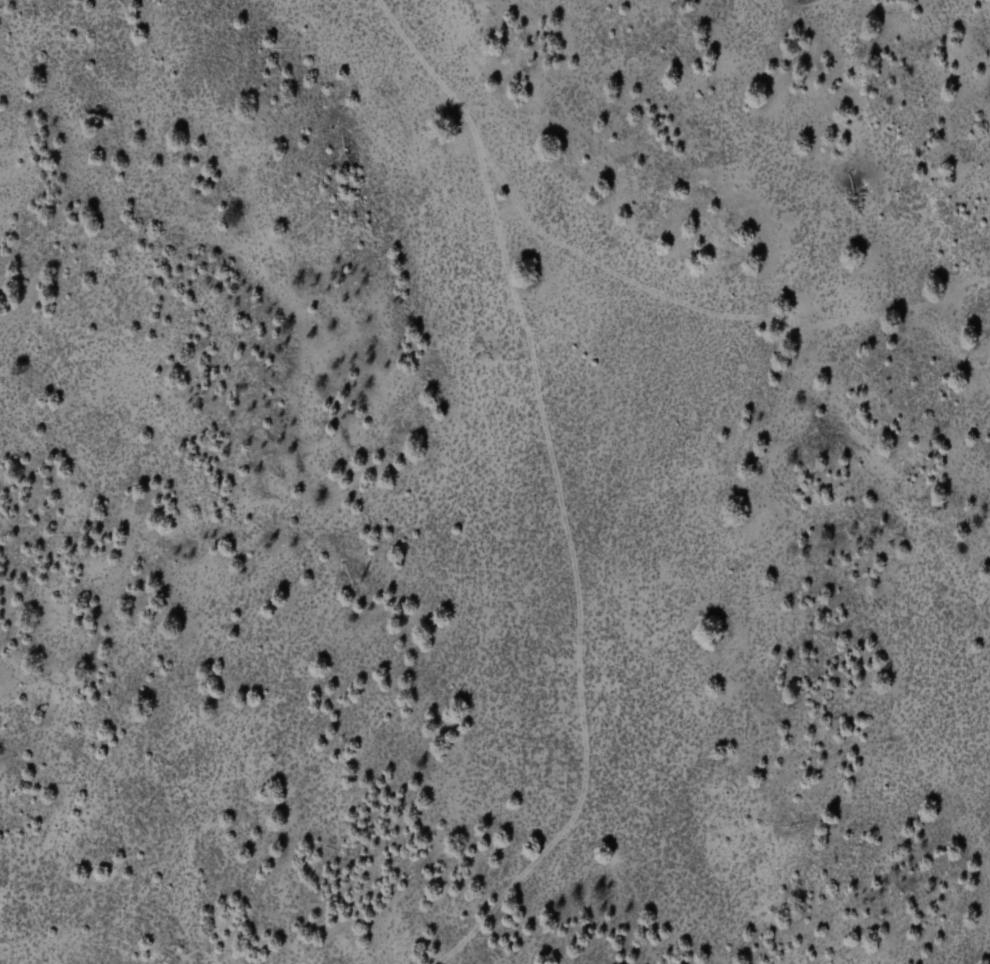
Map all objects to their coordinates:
road: (557, 489)

